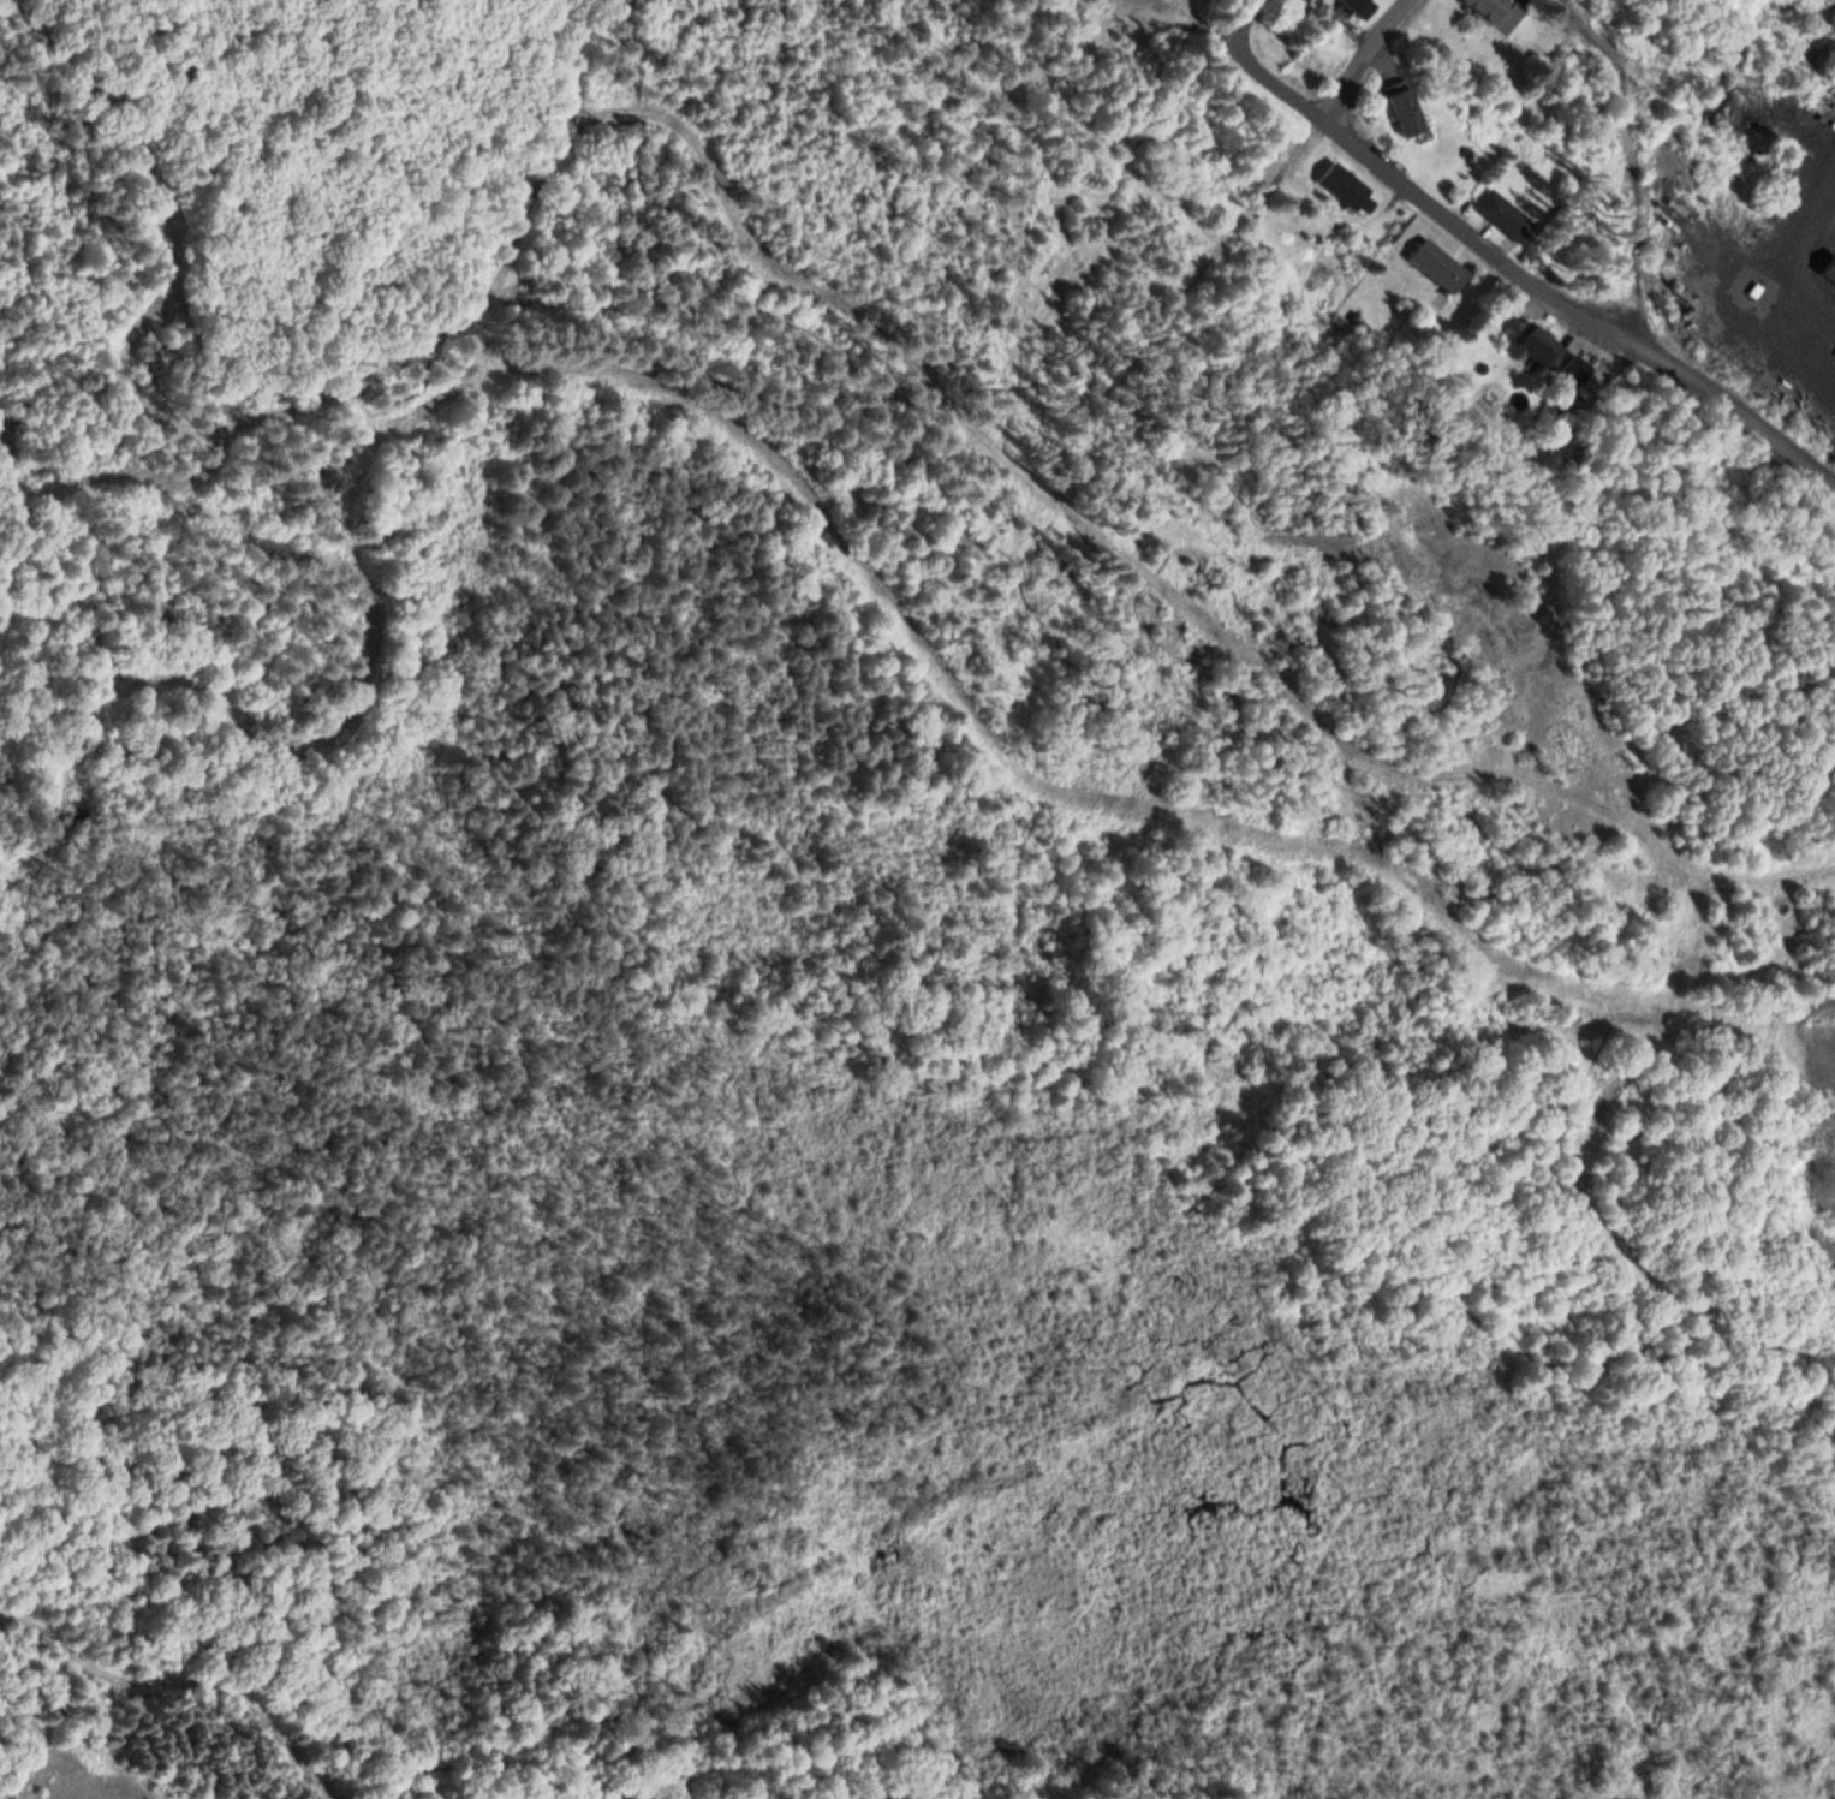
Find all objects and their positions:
building: (1360, 7)
building: (1499, 12)
road: (1378, 56)
building: (1406, 111)
building: (1348, 189)
building: (1505, 216)
road: (1812, 251)
road: (1518, 257)
building: (1438, 266)
building: (1829, 269)
road: (494, 317)
building: (1554, 358)
road: (1142, 570)
road: (1057, 793)
road: (1759, 882)
road: (282, 1595)
road: (186, 1670)
road: (96, 1733)
road: (71, 1757)

